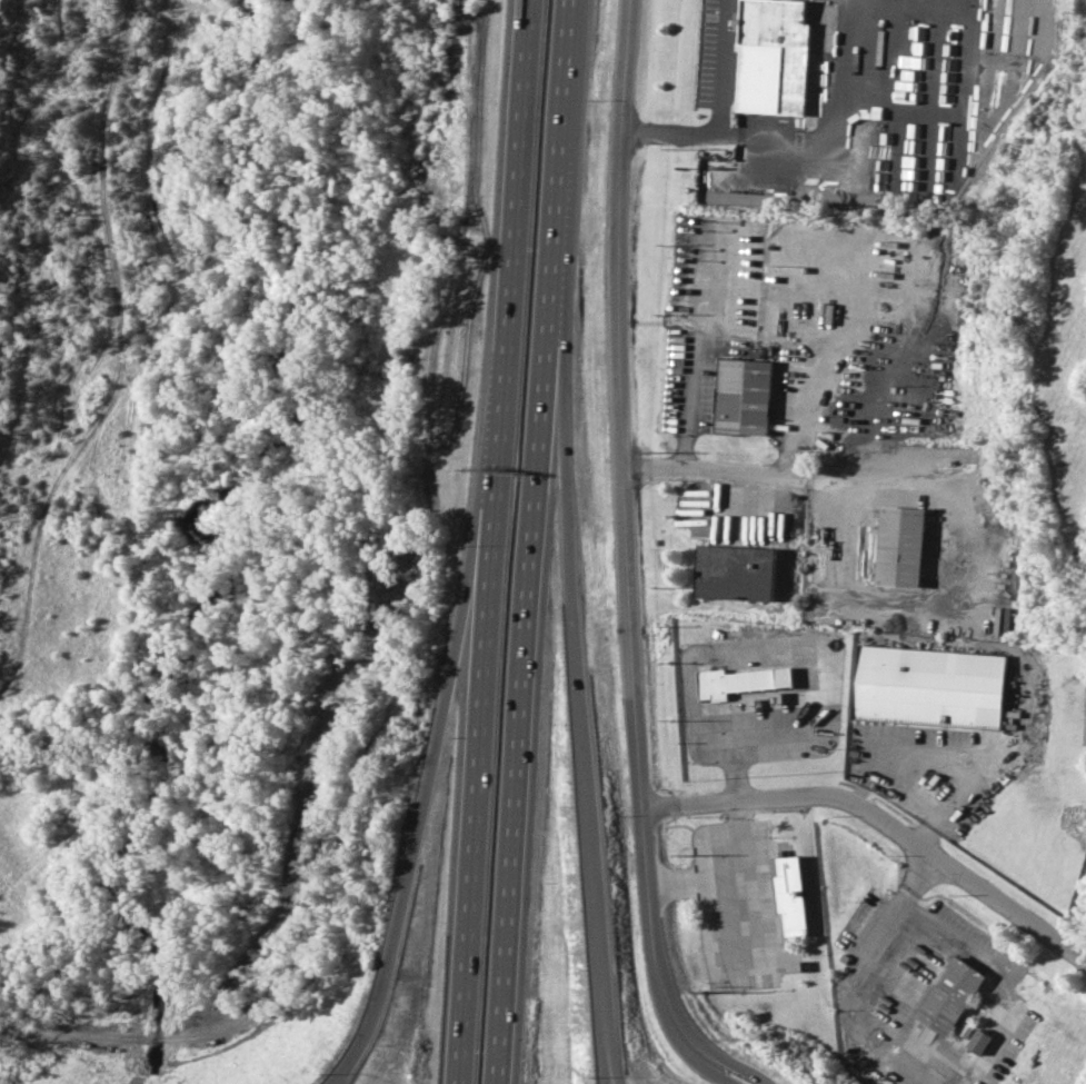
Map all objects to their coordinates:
building: (771, 73)
street lamp: (584, 99)
road: (700, 107)
road: (552, 121)
street lamp: (577, 245)
street lamp: (571, 334)
road: (686, 391)
building: (743, 391)
street lamp: (460, 417)
street lamp: (569, 424)
river: (213, 437)
road: (707, 470)
road: (560, 525)
road: (618, 530)
road: (486, 541)
street lamp: (449, 543)
building: (897, 546)
building: (735, 573)
road: (947, 583)
road: (516, 663)
building: (738, 680)
building: (929, 686)
street lamp: (427, 687)
road: (434, 729)
road: (963, 796)
road: (880, 821)
road: (740, 879)
building: (791, 896)
road: (596, 936)
power tower: (693, 992)
building: (948, 996)
river: (150, 1040)
building: (978, 1041)
road: (984, 1053)
river: (148, 1062)
road: (725, 1066)
road: (707, 1067)
street lamp: (321, 1073)
road: (608, 1074)
road: (605, 1075)
river: (147, 1078)
road: (336, 1078)
road: (339, 1078)
street lamp: (589, 1078)

